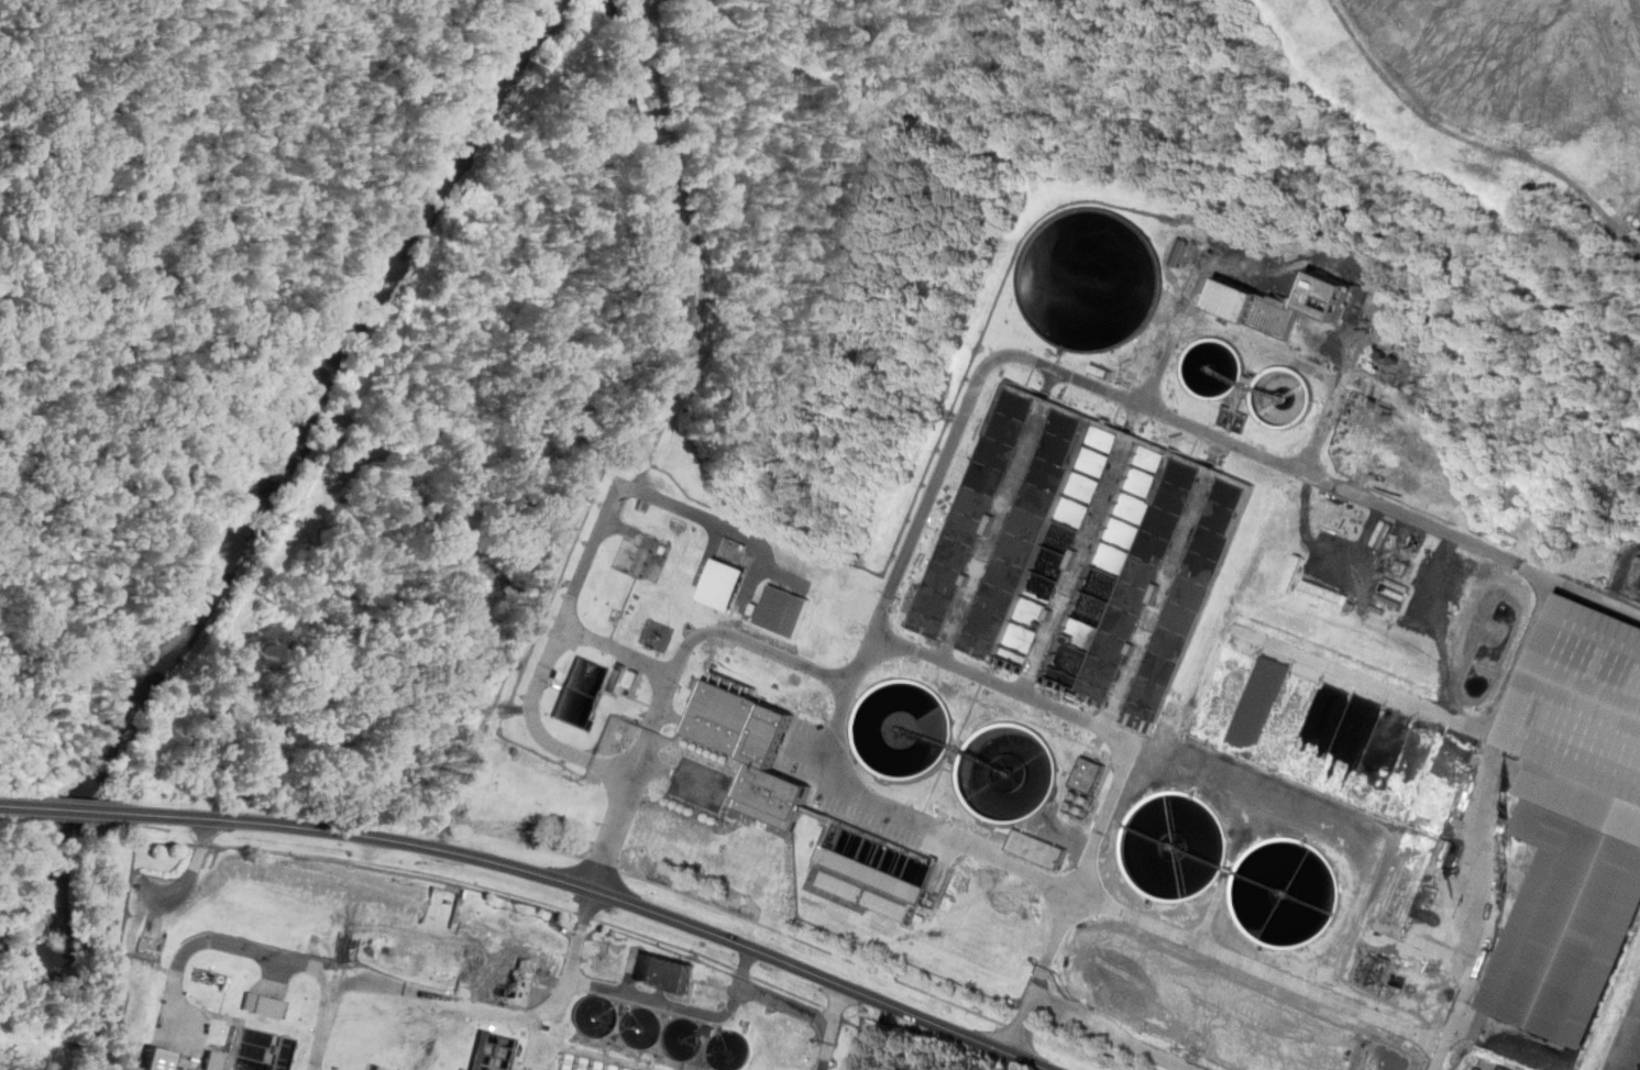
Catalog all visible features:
building: (1254, 306)
landfill: (789, 310)
road: (1169, 343)
road: (1176, 416)
road: (1328, 418)
river: (280, 476)
road: (640, 485)
building: (1052, 489)
road: (713, 519)
road: (437, 520)
building: (724, 584)
building: (1327, 595)
building: (783, 611)
road: (752, 641)
building: (1067, 649)
road: (958, 663)
wastewater plant: (1125, 684)
road: (489, 718)
road: (533, 721)
road: (1496, 724)
building: (750, 749)
building: (1087, 774)
road: (680, 775)
road: (20, 805)
road: (88, 810)
building: (1576, 818)
road: (1100, 819)
road: (950, 835)
road: (528, 845)
building: (1038, 848)
road: (603, 865)
building: (871, 872)
building: (838, 885)
road: (605, 894)
building: (883, 904)
road: (606, 923)
road: (815, 947)
building: (602, 964)
building: (662, 973)
road: (1472, 977)
wastewater plant: (420, 979)
road: (374, 981)
building: (515, 982)
building: (266, 1005)
road: (683, 1006)
road: (1022, 1021)
road: (324, 1022)
road: (832, 1027)
building: (708, 1029)
road: (1019, 1030)
road: (1115, 1032)
road: (1632, 1047)
road: (1072, 1052)
building: (164, 1059)
building: (216, 1060)
building: (229, 1068)

